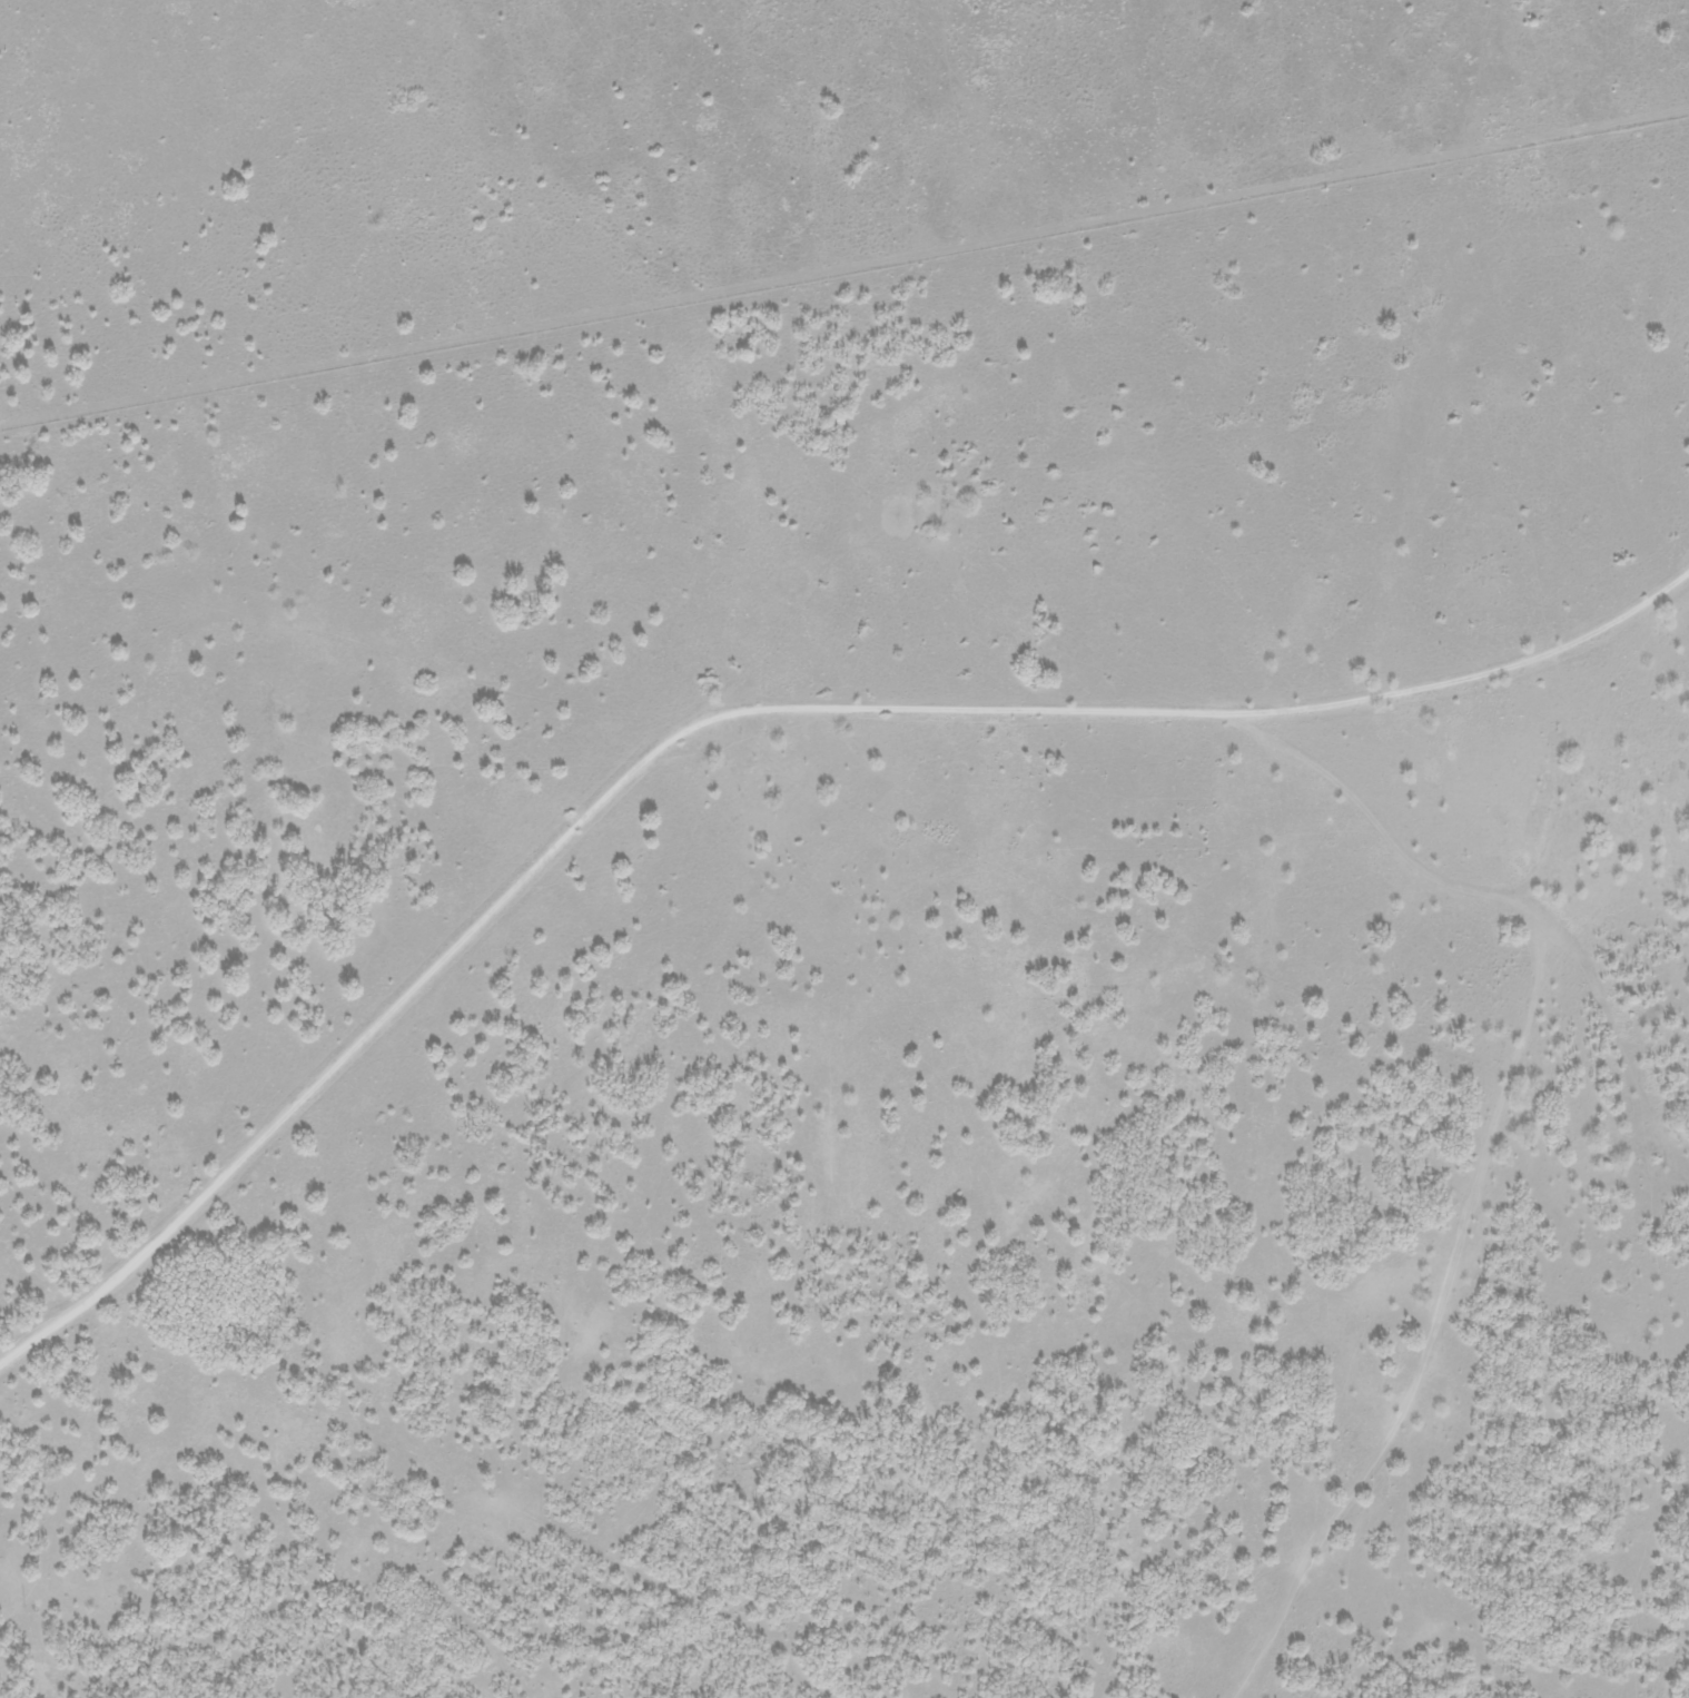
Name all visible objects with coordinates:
road: (1530, 1625)

